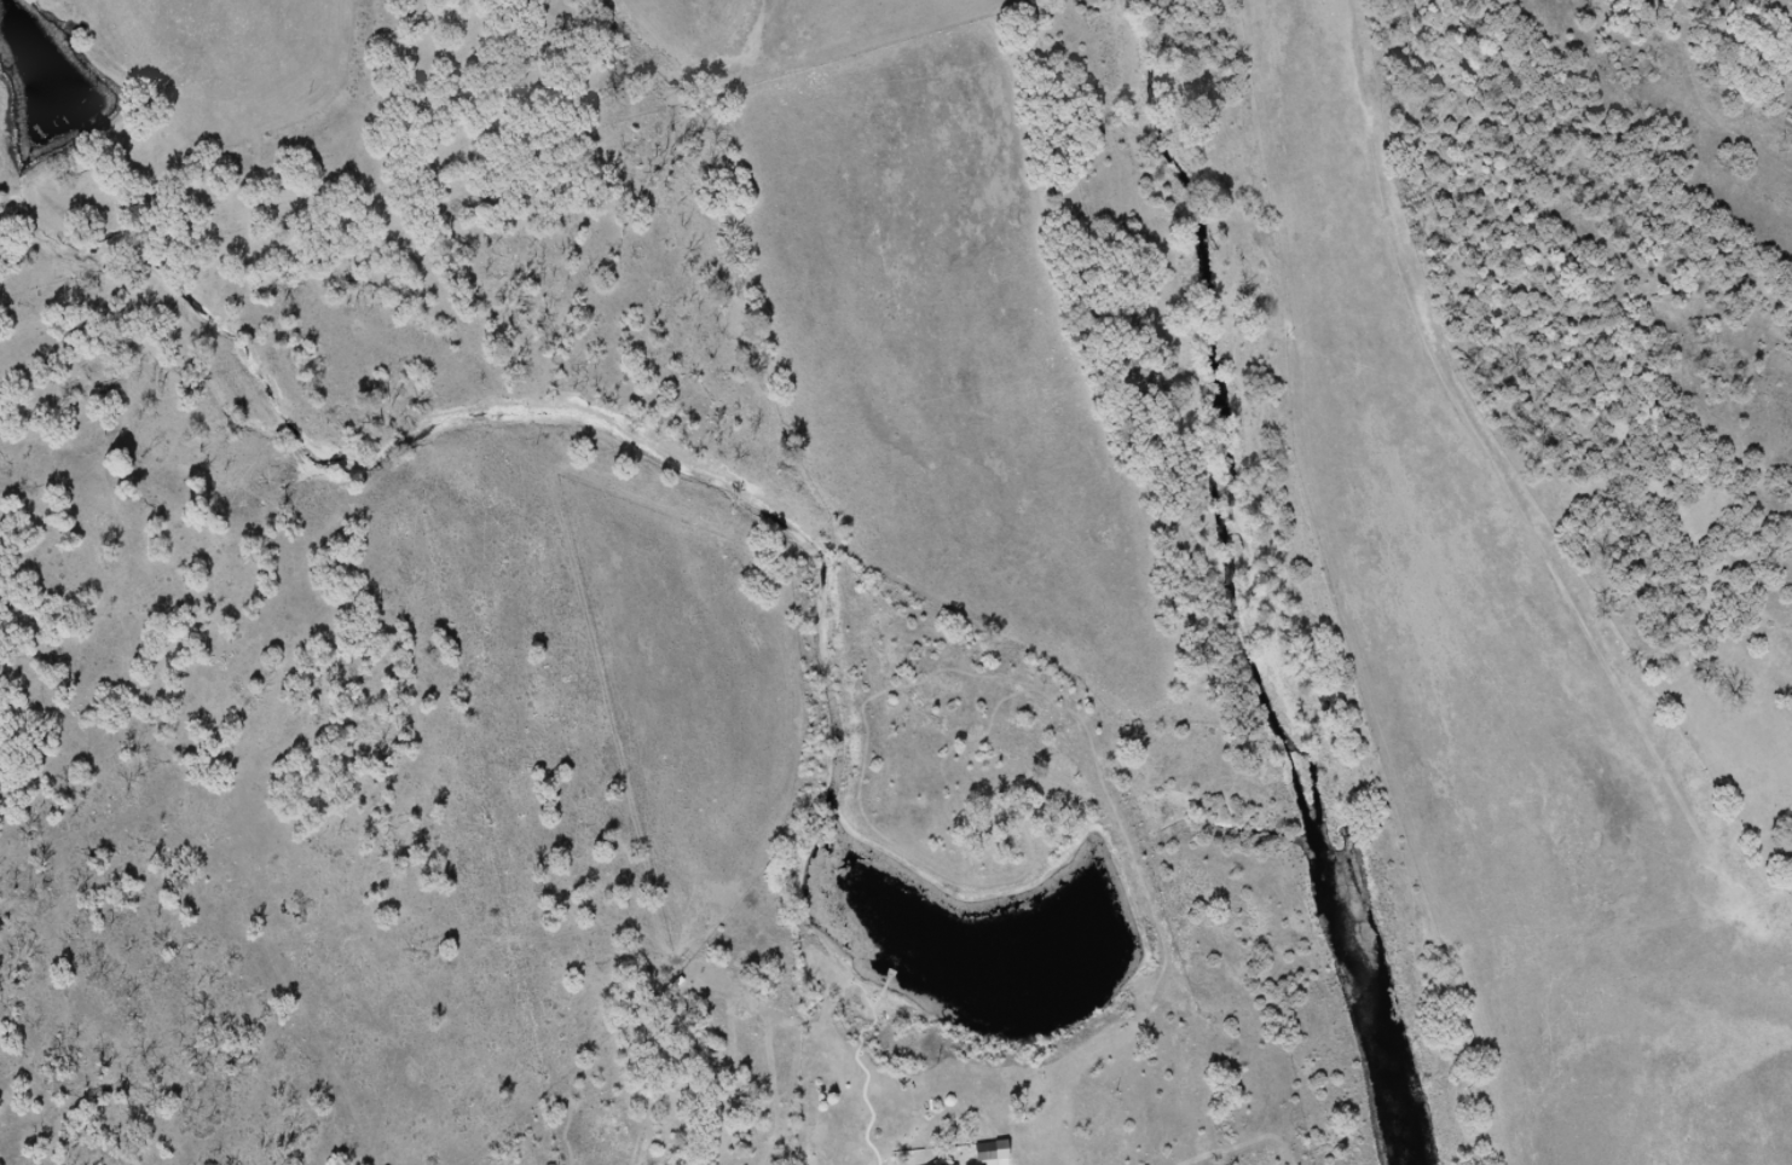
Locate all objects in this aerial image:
building: (988, 1153)

